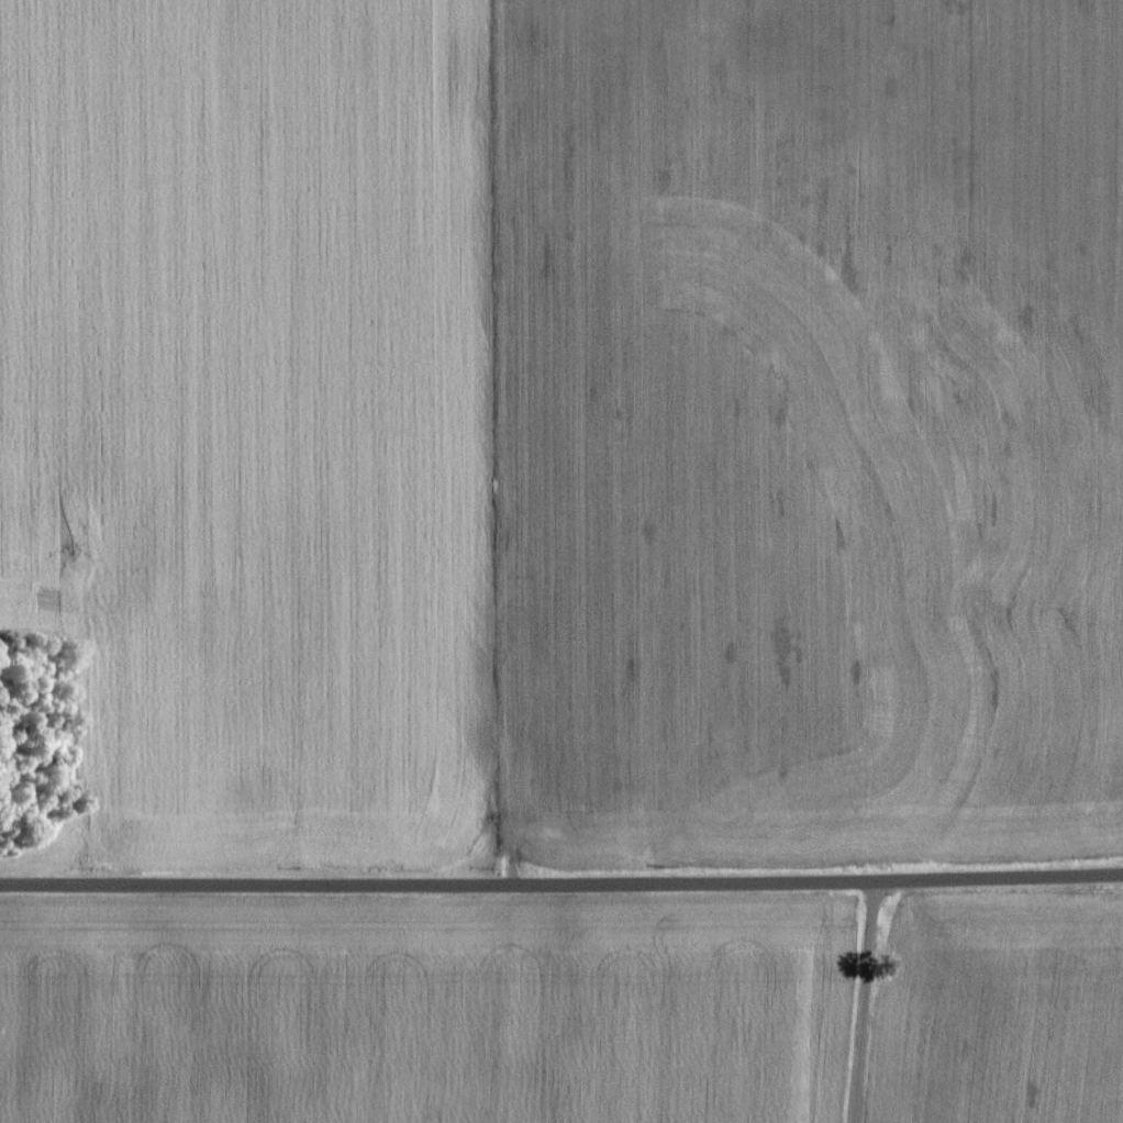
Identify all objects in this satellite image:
road: (561, 880)
road: (865, 1001)

